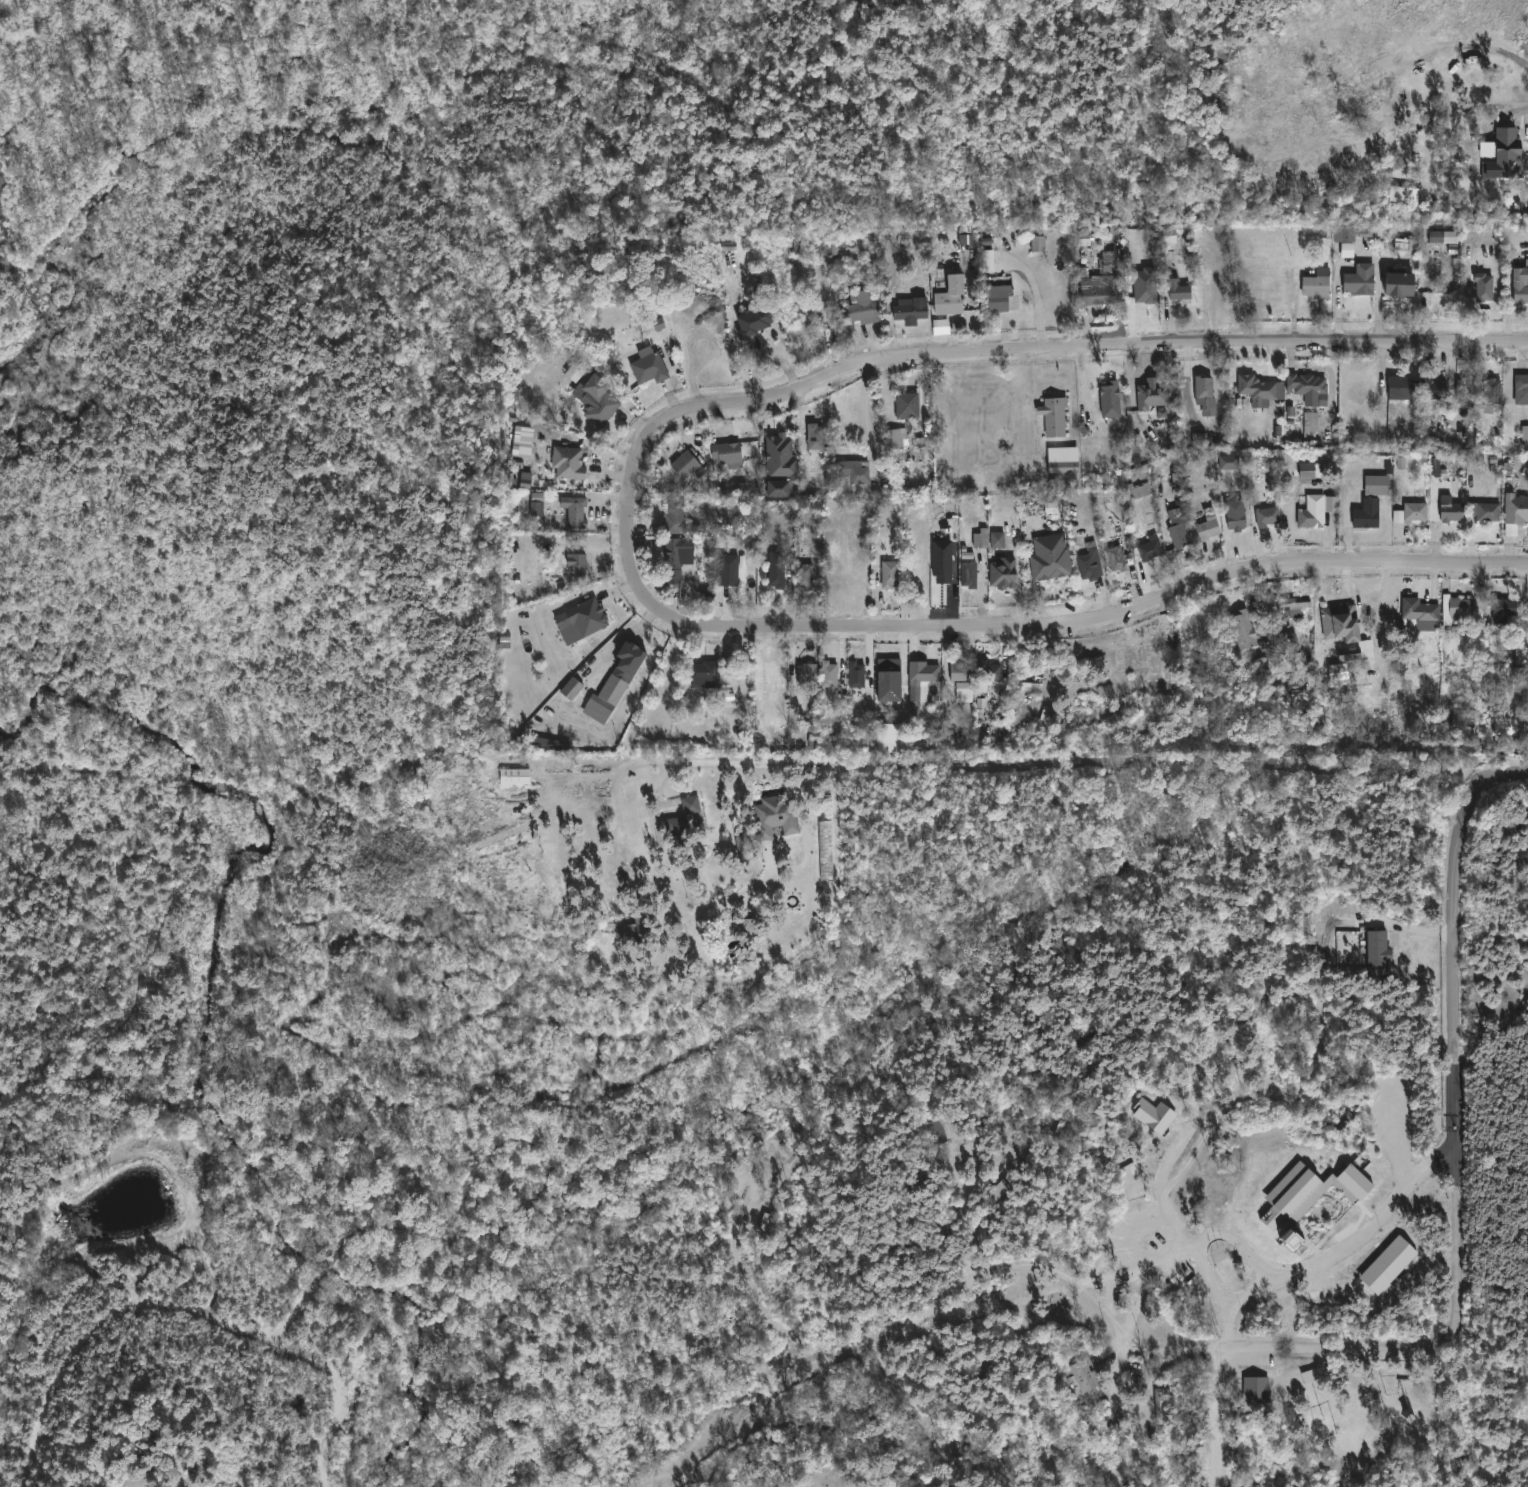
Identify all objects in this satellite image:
road: (1359, 84)
building: (1509, 145)
building: (1404, 194)
building: (1354, 232)
building: (1443, 236)
building: (1038, 243)
building: (1165, 246)
building: (1347, 249)
building: (987, 260)
building: (1108, 266)
building: (1360, 280)
building: (1399, 283)
building: (1520, 283)
building: (1317, 284)
building: (1145, 285)
building: (1484, 286)
building: (1179, 290)
building: (1470, 291)
building: (951, 295)
building: (1094, 295)
building: (997, 297)
road: (1038, 299)
road: (1340, 306)
building: (855, 311)
building: (909, 311)
building: (754, 320)
building: (659, 323)
road: (973, 355)
building: (648, 366)
building: (1521, 383)
building: (1306, 387)
building: (1402, 387)
building: (1434, 387)
building: (1259, 389)
building: (1203, 390)
building: (1465, 390)
building: (1152, 393)
building: (1492, 393)
building: (1110, 399)
building: (598, 400)
building: (907, 406)
building: (1055, 416)
building: (1311, 424)
building: (814, 434)
building: (1525, 434)
building: (894, 438)
building: (1200, 439)
building: (523, 441)
building: (727, 452)
building: (1062, 459)
building: (1229, 461)
building: (780, 462)
building: (567, 463)
building: (687, 465)
building: (1435, 465)
building: (854, 469)
building: (1312, 470)
building: (526, 479)
building: (1377, 484)
building: (1138, 488)
building: (537, 503)
building: (1450, 509)
building: (574, 510)
building: (1313, 511)
building: (1415, 511)
building: (1483, 511)
building: (1515, 512)
building: (1367, 513)
building: (675, 514)
building: (1267, 514)
building: (1209, 517)
building: (1235, 518)
building: (1179, 534)
building: (981, 538)
building: (997, 539)
building: (1148, 551)
building: (1120, 554)
building: (1051, 555)
building: (675, 556)
building: (942, 561)
building: (1090, 561)
building: (577, 562)
building: (783, 567)
building: (728, 569)
building: (1003, 571)
building: (889, 572)
building: (969, 572)
building: (804, 574)
building: (1293, 606)
building: (1457, 607)
building: (1503, 607)
building: (1420, 610)
road: (1105, 614)
building: (581, 618)
building: (1341, 620)
building: (1243, 628)
building: (1286, 638)
building: (504, 639)
building: (1367, 648)
building: (627, 658)
building: (730, 664)
building: (927, 670)
building: (961, 670)
building: (989, 670)
building: (1338, 671)
building: (807, 672)
building: (829, 672)
building: (890, 672)
building: (705, 673)
building: (856, 673)
building: (769, 674)
building: (730, 684)
building: (572, 688)
building: (597, 707)
building: (915, 707)
building: (1466, 715)
building: (1506, 724)
building: (893, 737)
building: (551, 742)
building: (555, 760)
road: (1078, 761)
building: (514, 775)
building: (775, 815)
building: (677, 824)
building: (631, 926)
building: (1378, 954)
building: (1154, 1115)
building: (935, 1128)
building: (1063, 1130)
road: (1455, 1140)
building: (1012, 1160)
building: (745, 1170)
building: (1285, 1181)
building: (1000, 1189)
building: (1314, 1194)
road: (1160, 1198)
building: (767, 1223)
building: (1292, 1244)
road: (1185, 1248)
road: (1340, 1251)
building: (1388, 1264)
road: (1007, 1268)
road: (1211, 1277)
building: (1175, 1284)
building: (1085, 1374)
building: (1256, 1389)
building: (1160, 1402)
road: (914, 1408)
road: (1214, 1414)
building: (873, 1486)
building: (877, 1486)

